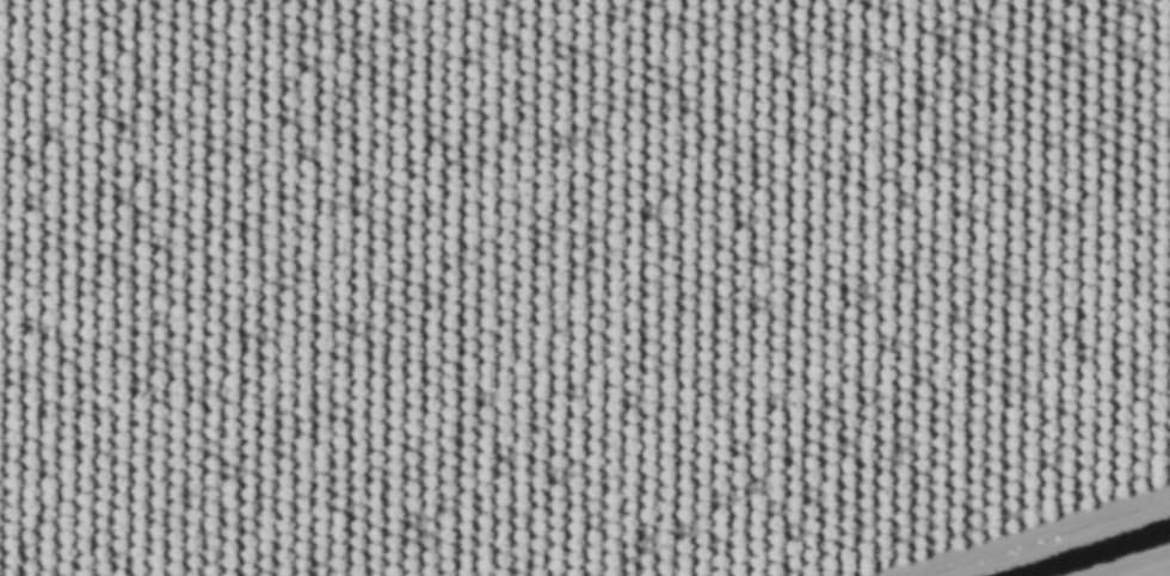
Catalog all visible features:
crop: (585, 287)

